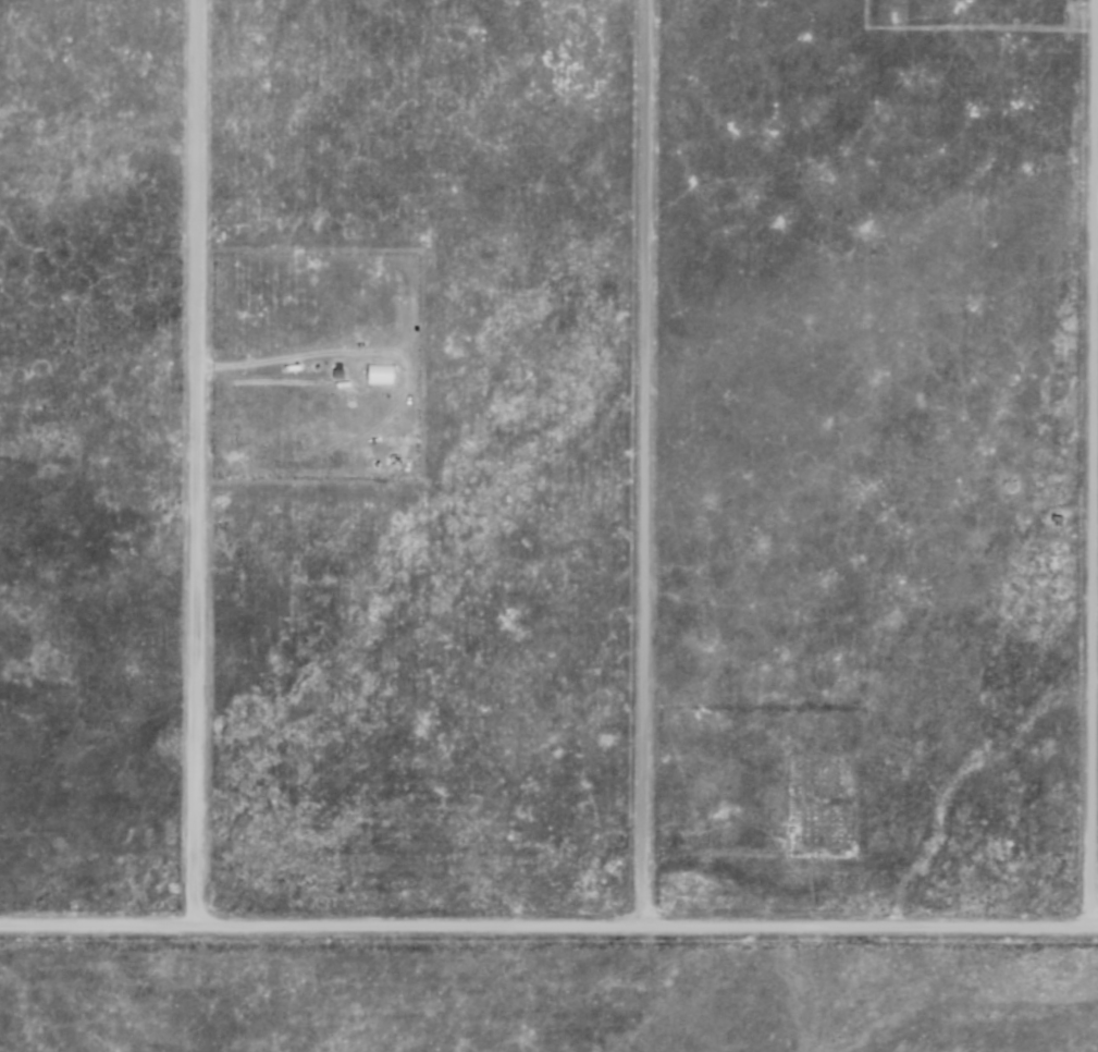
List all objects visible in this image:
road: (189, 464)
road: (638, 464)
road: (1085, 465)
road: (548, 928)

